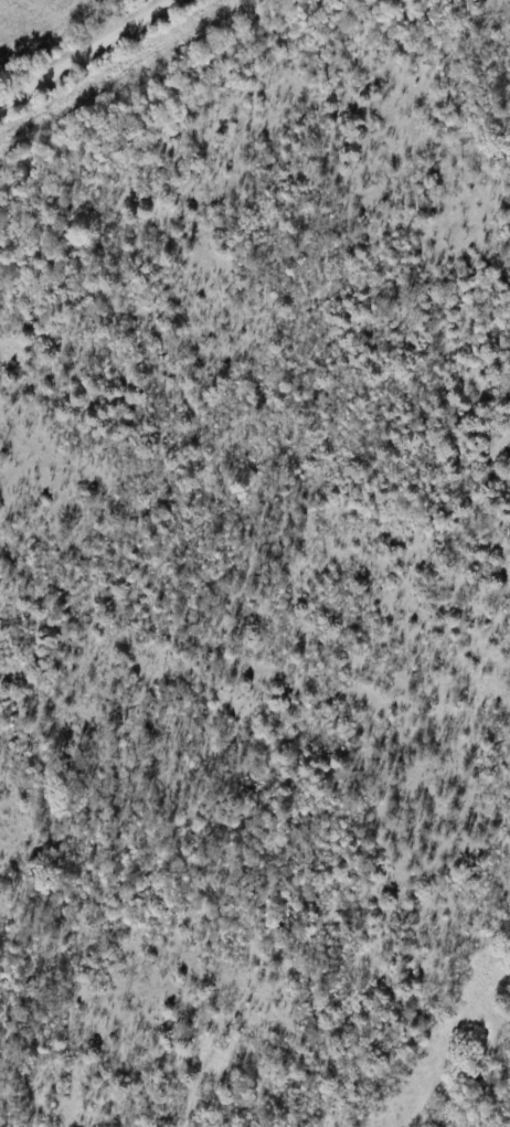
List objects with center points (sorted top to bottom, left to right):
road: (91, 54)

